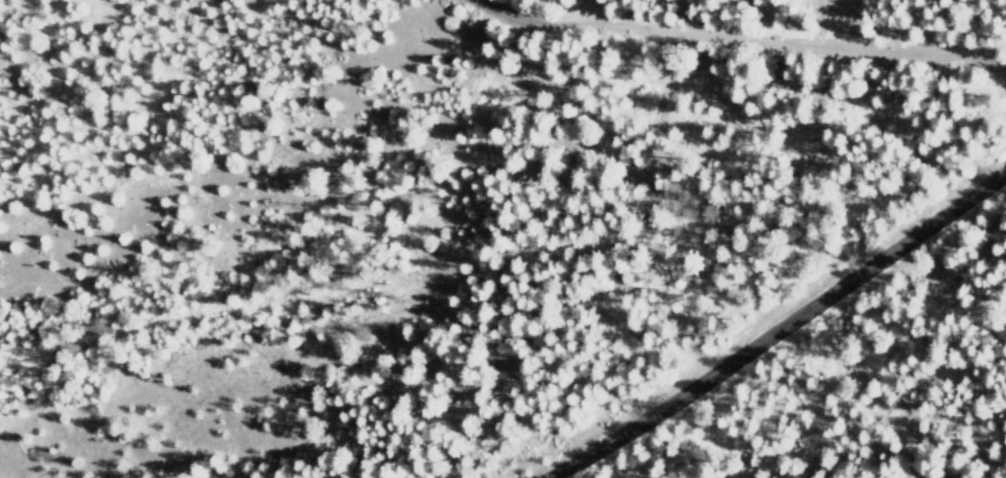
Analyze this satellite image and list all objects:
road: (735, 36)
road: (777, 330)

